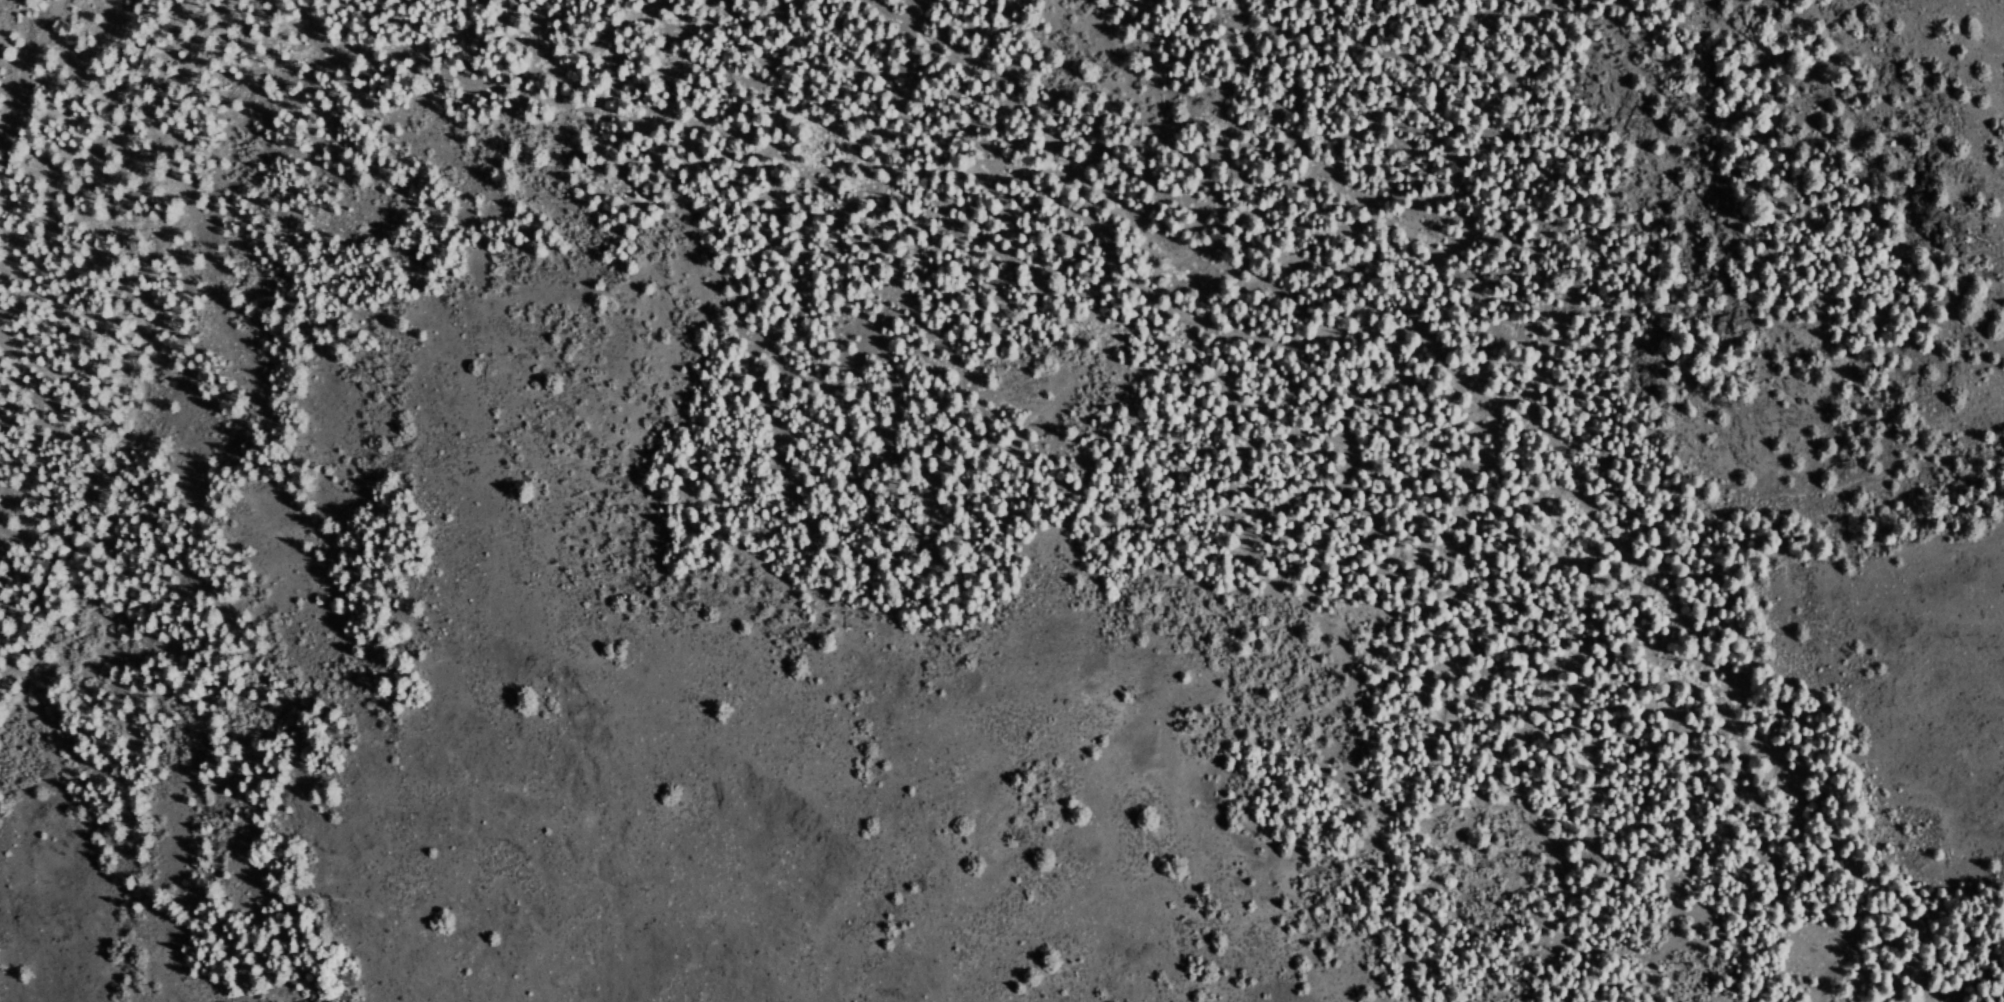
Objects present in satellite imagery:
road: (30, 57)

